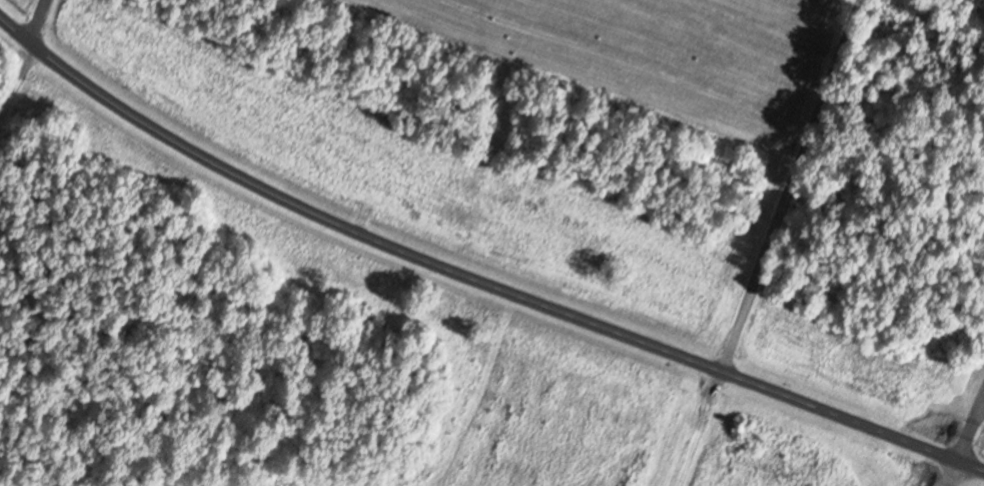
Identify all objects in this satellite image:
road: (40, 19)
road: (769, 243)
road: (474, 274)
road: (38, 402)
road: (964, 435)

